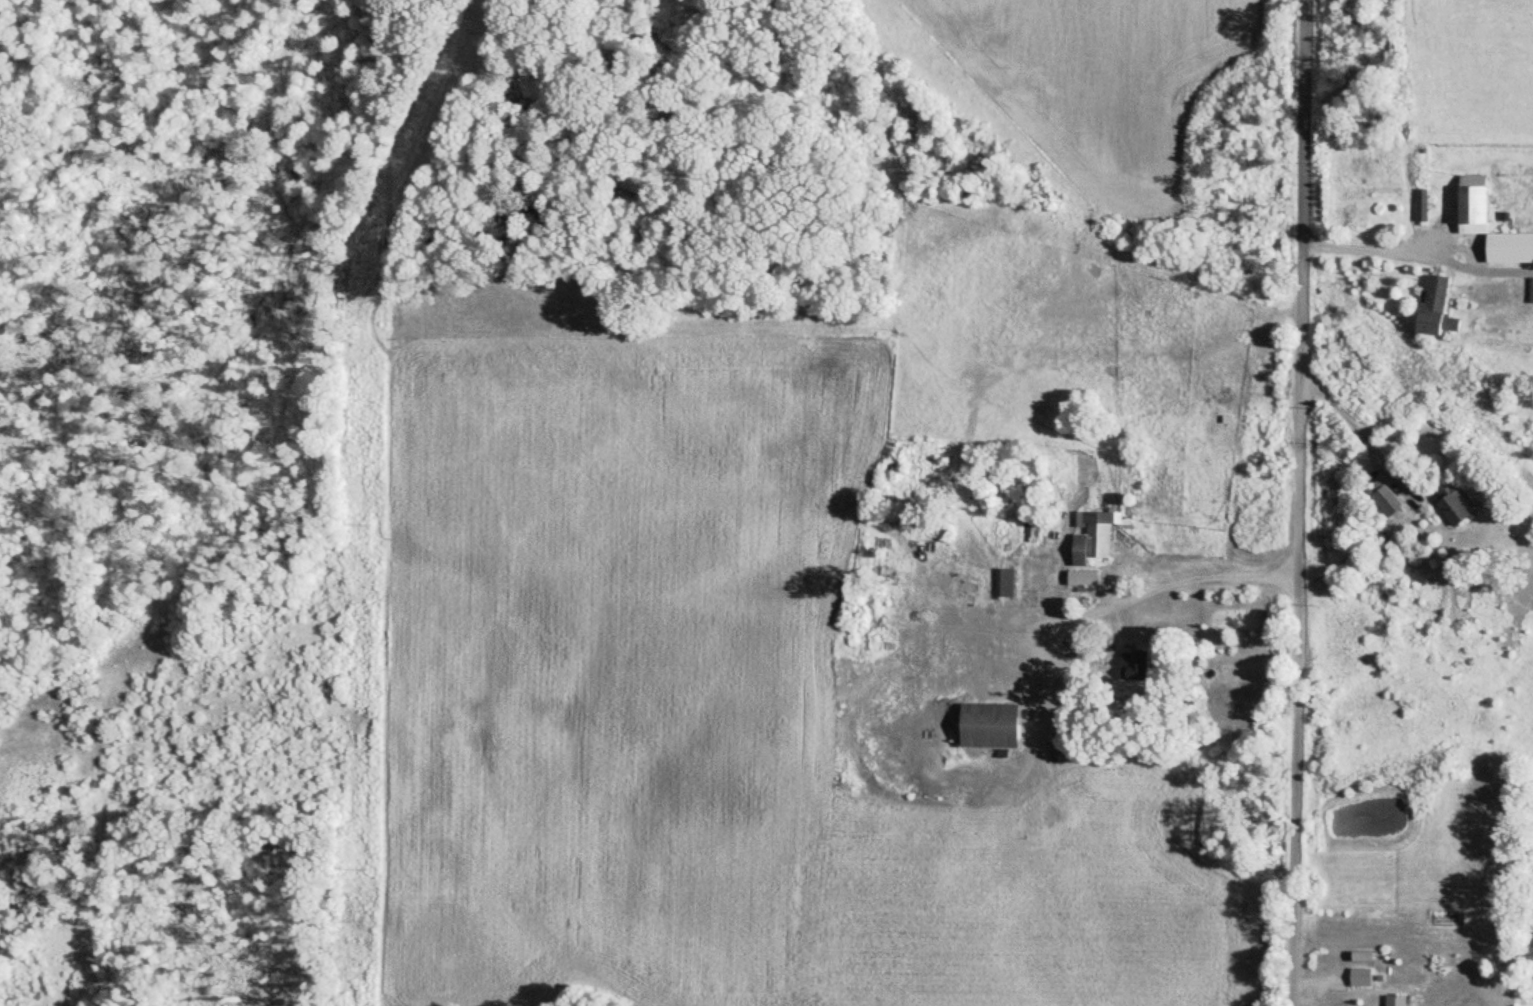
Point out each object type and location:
building: (1470, 205)
road: (1358, 246)
building: (1431, 305)
road: (1354, 422)
building: (1383, 498)
road: (1292, 502)
building: (1453, 506)
building: (1028, 532)
building: (1089, 537)
road: (1127, 597)
building: (987, 727)
building: (1359, 958)
building: (1348, 979)
building: (1393, 1001)

